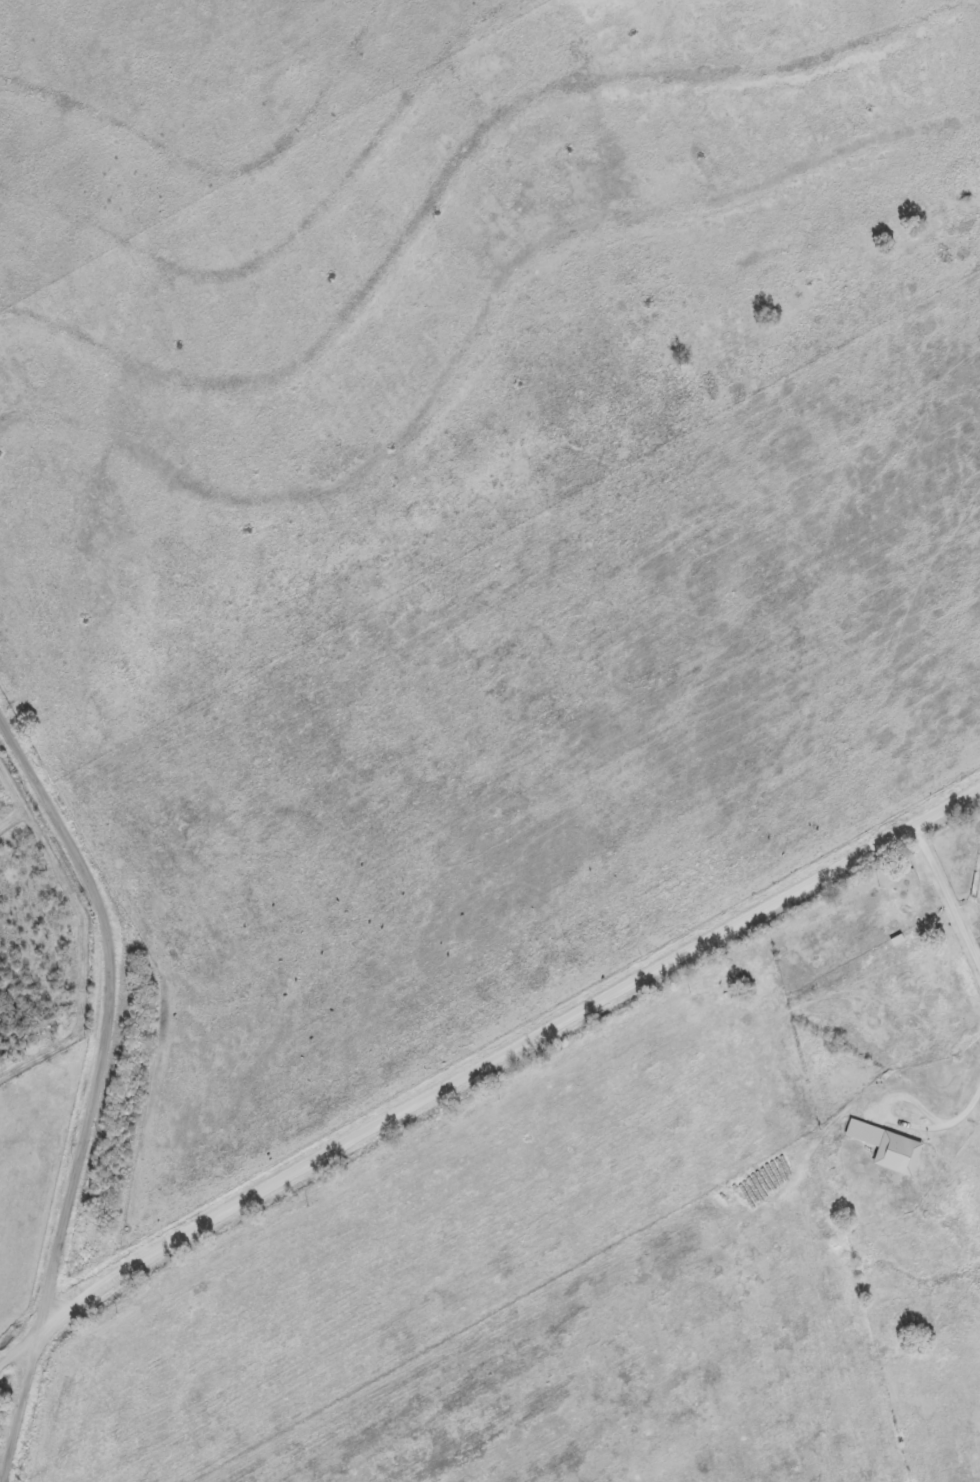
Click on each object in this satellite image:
road: (480, 1073)
road: (99, 1087)
building: (891, 1148)

